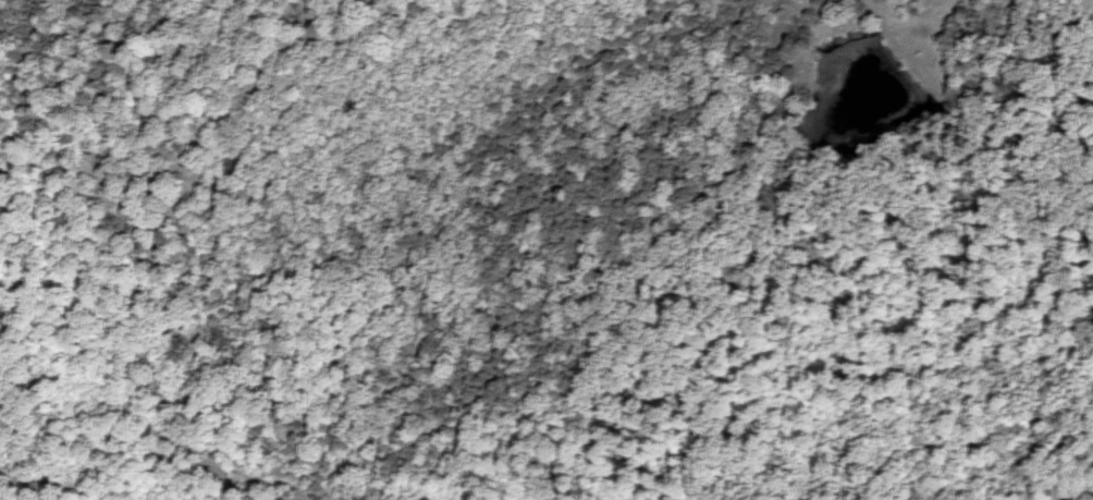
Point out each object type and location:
road: (122, 256)

